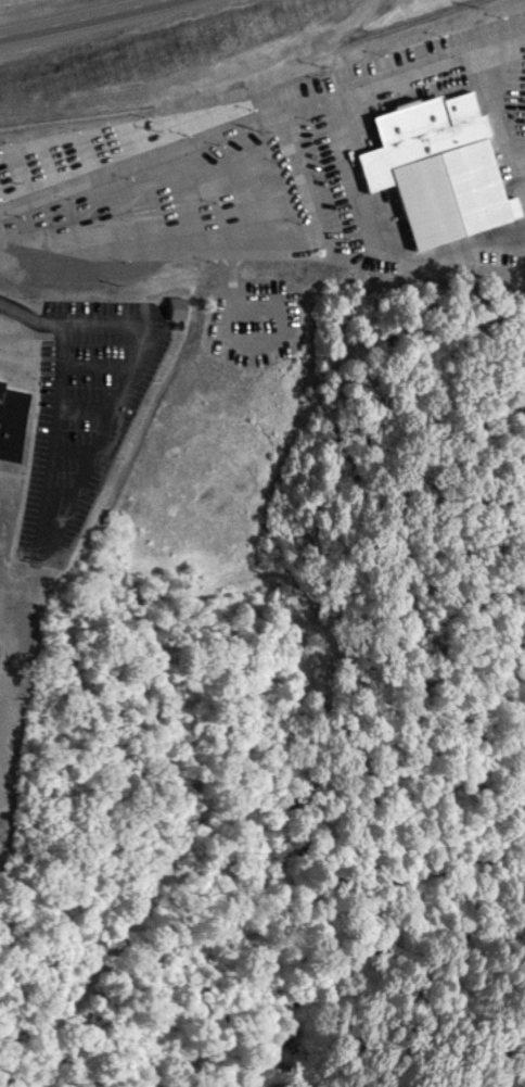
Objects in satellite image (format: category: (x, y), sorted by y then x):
road: (110, 24)
building: (441, 165)
road: (90, 178)
building: (13, 420)

